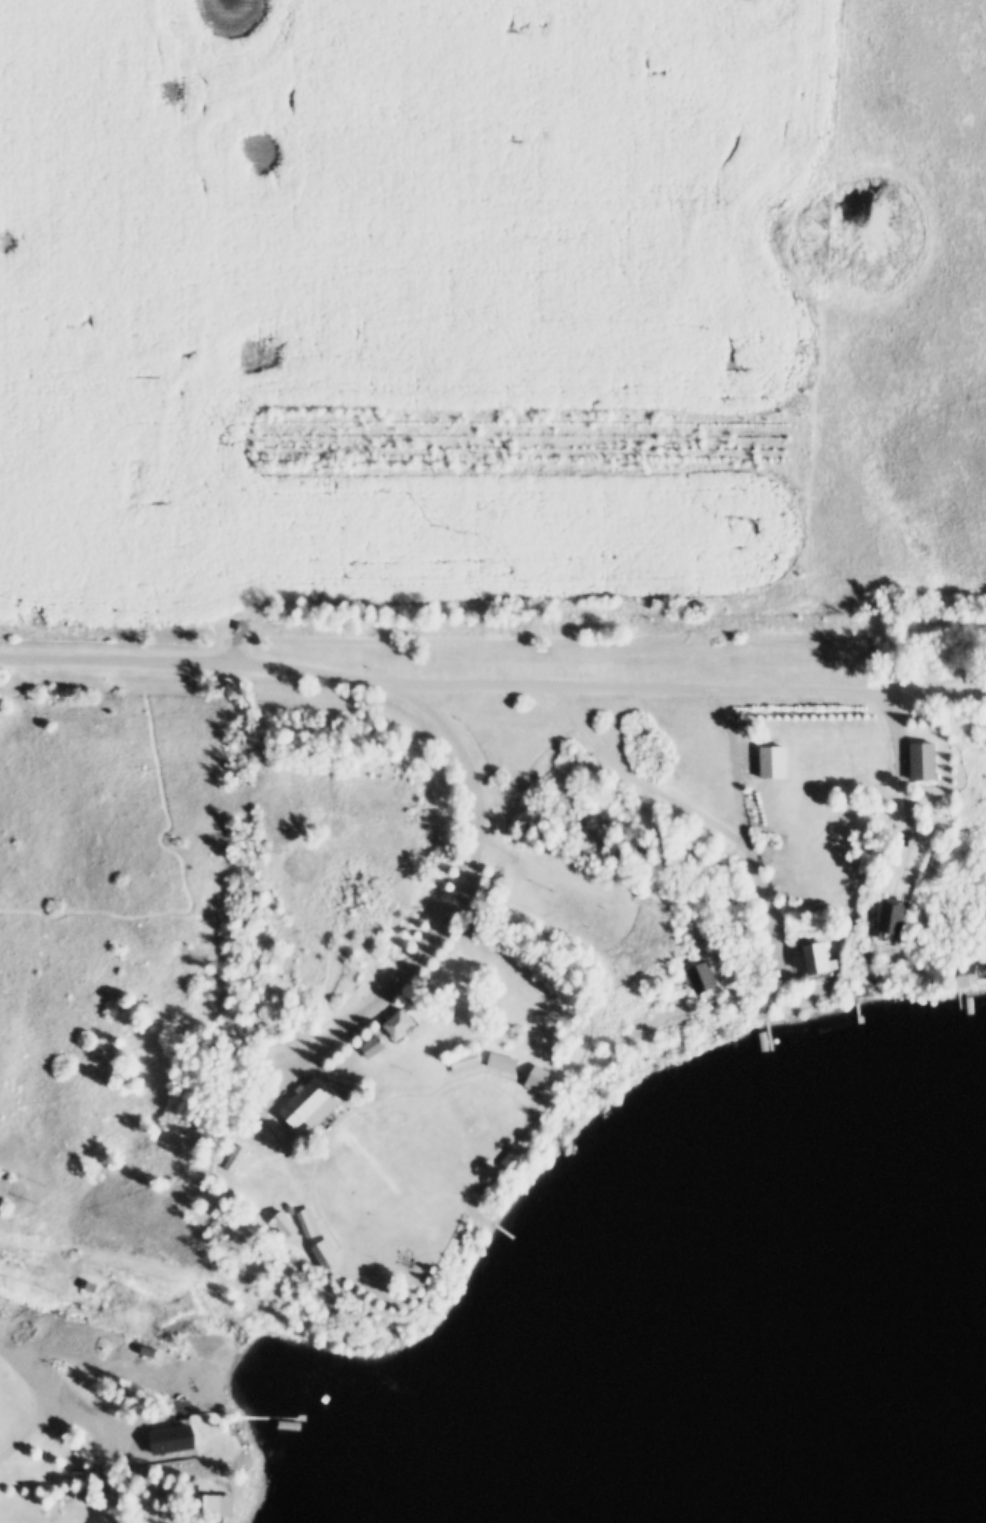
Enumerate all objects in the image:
road: (595, 625)
road: (492, 684)
building: (928, 759)
building: (912, 760)
building: (762, 761)
road: (736, 764)
road: (895, 787)
road: (671, 800)
road: (458, 908)
building: (895, 915)
building: (878, 917)
building: (810, 956)
building: (691, 975)
building: (959, 978)
building: (702, 979)
building: (388, 1021)
building: (363, 1044)
building: (372, 1046)
building: (457, 1059)
building: (494, 1060)
building: (528, 1075)
building: (301, 1104)
building: (229, 1155)
building: (505, 1157)
building: (300, 1219)
building: (277, 1221)
building: (318, 1251)
building: (89, 1283)
building: (101, 1494)
building: (226, 1504)
building: (206, 1505)

